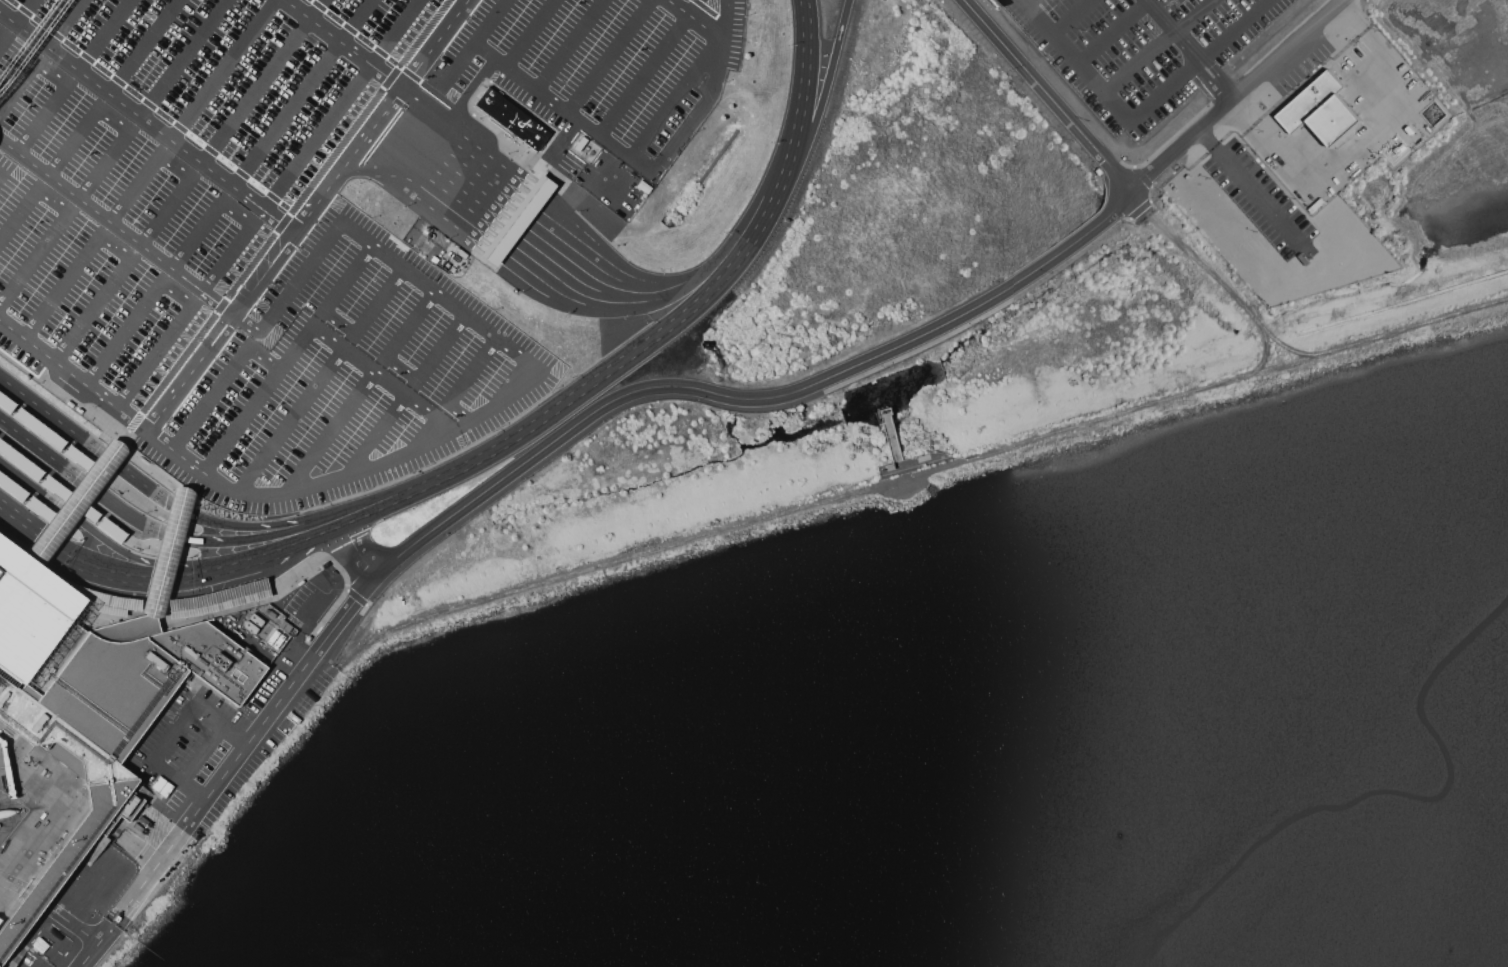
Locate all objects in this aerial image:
road: (1028, 1)
road: (25, 11)
road: (710, 11)
road: (1071, 16)
road: (1354, 18)
road: (695, 19)
road: (65, 23)
road: (1175, 28)
road: (1233, 29)
road: (1114, 32)
road: (356, 33)
road: (529, 33)
road: (106, 35)
road: (4, 38)
road: (722, 38)
railway: (27, 40)
road: (344, 43)
road: (569, 45)
railway: (34, 46)
road: (144, 47)
road: (1158, 47)
parking lot: (1147, 50)
road: (466, 52)
road: (609, 56)
road: (183, 58)
road: (649, 67)
road: (223, 70)
parking lot: (382, 72)
road: (1220, 77)
road: (805, 78)
road: (60, 80)
road: (262, 81)
road: (827, 81)
road: (304, 93)
road: (1048, 94)
road: (1240, 94)
road: (708, 95)
road: (1110, 98)
road: (676, 99)
building: (1311, 100)
road: (341, 104)
road: (151, 105)
road: (562, 109)
road: (381, 116)
building: (512, 118)
road: (1237, 118)
road: (111, 119)
building: (1335, 120)
road: (147, 122)
road: (397, 136)
road: (1359, 138)
road: (23, 157)
road: (788, 161)
road: (173, 166)
road: (353, 172)
road: (0, 177)
road: (1246, 183)
road: (521, 188)
toll booth: (540, 190)
toll booth: (534, 198)
parking lot: (1259, 200)
road: (558, 203)
toll booth: (528, 207)
road: (749, 211)
road: (236, 213)
toll booth: (521, 216)
road: (66, 218)
building: (516, 219)
road: (526, 219)
road: (544, 219)
road: (285, 221)
toll booth: (515, 224)
road: (508, 233)
toll booth: (508, 233)
toll booth: (502, 241)
road: (538, 242)
road: (488, 244)
road: (116, 246)
road: (511, 247)
toll booth: (496, 250)
road: (149, 251)
toll booth: (489, 259)
building: (434, 260)
parking lot: (358, 263)
road: (1202, 264)
road: (298, 279)
road: (177, 292)
road: (534, 292)
road: (255, 300)
road: (476, 321)
airport: (617, 321)
road: (338, 322)
road: (222, 332)
road: (630, 353)
road: (355, 355)
road: (264, 359)
parking lot: (201, 368)
road: (400, 369)
road: (461, 381)
building: (6, 403)
road: (117, 408)
road: (94, 418)
road: (292, 419)
road: (582, 420)
building: (39, 429)
road: (330, 431)
road: (377, 433)
road: (49, 437)
road: (93, 447)
building: (20, 460)
road: (347, 474)
road: (88, 484)
building: (12, 487)
road: (61, 493)
road: (371, 498)
building: (73, 499)
road: (30, 502)
road: (75, 503)
road: (144, 504)
road: (384, 507)
road: (256, 526)
road: (28, 528)
road: (333, 528)
building: (112, 530)
traffic signals: (36, 534)
road: (254, 538)
road: (307, 538)
road: (107, 542)
road: (335, 544)
road: (155, 547)
road: (357, 551)
building: (168, 553)
road: (167, 554)
traffic signals: (154, 563)
road: (339, 568)
road: (174, 575)
traffic signals: (144, 576)
road: (355, 596)
building: (219, 600)
building: (105, 601)
road: (127, 605)
airport terminal: (93, 697)
building: (93, 697)
road: (171, 730)
road: (201, 752)
airport apron: (33, 815)
road: (14, 884)
road: (37, 899)
road: (126, 902)
road: (71, 923)
road: (82, 952)
road: (91, 955)

